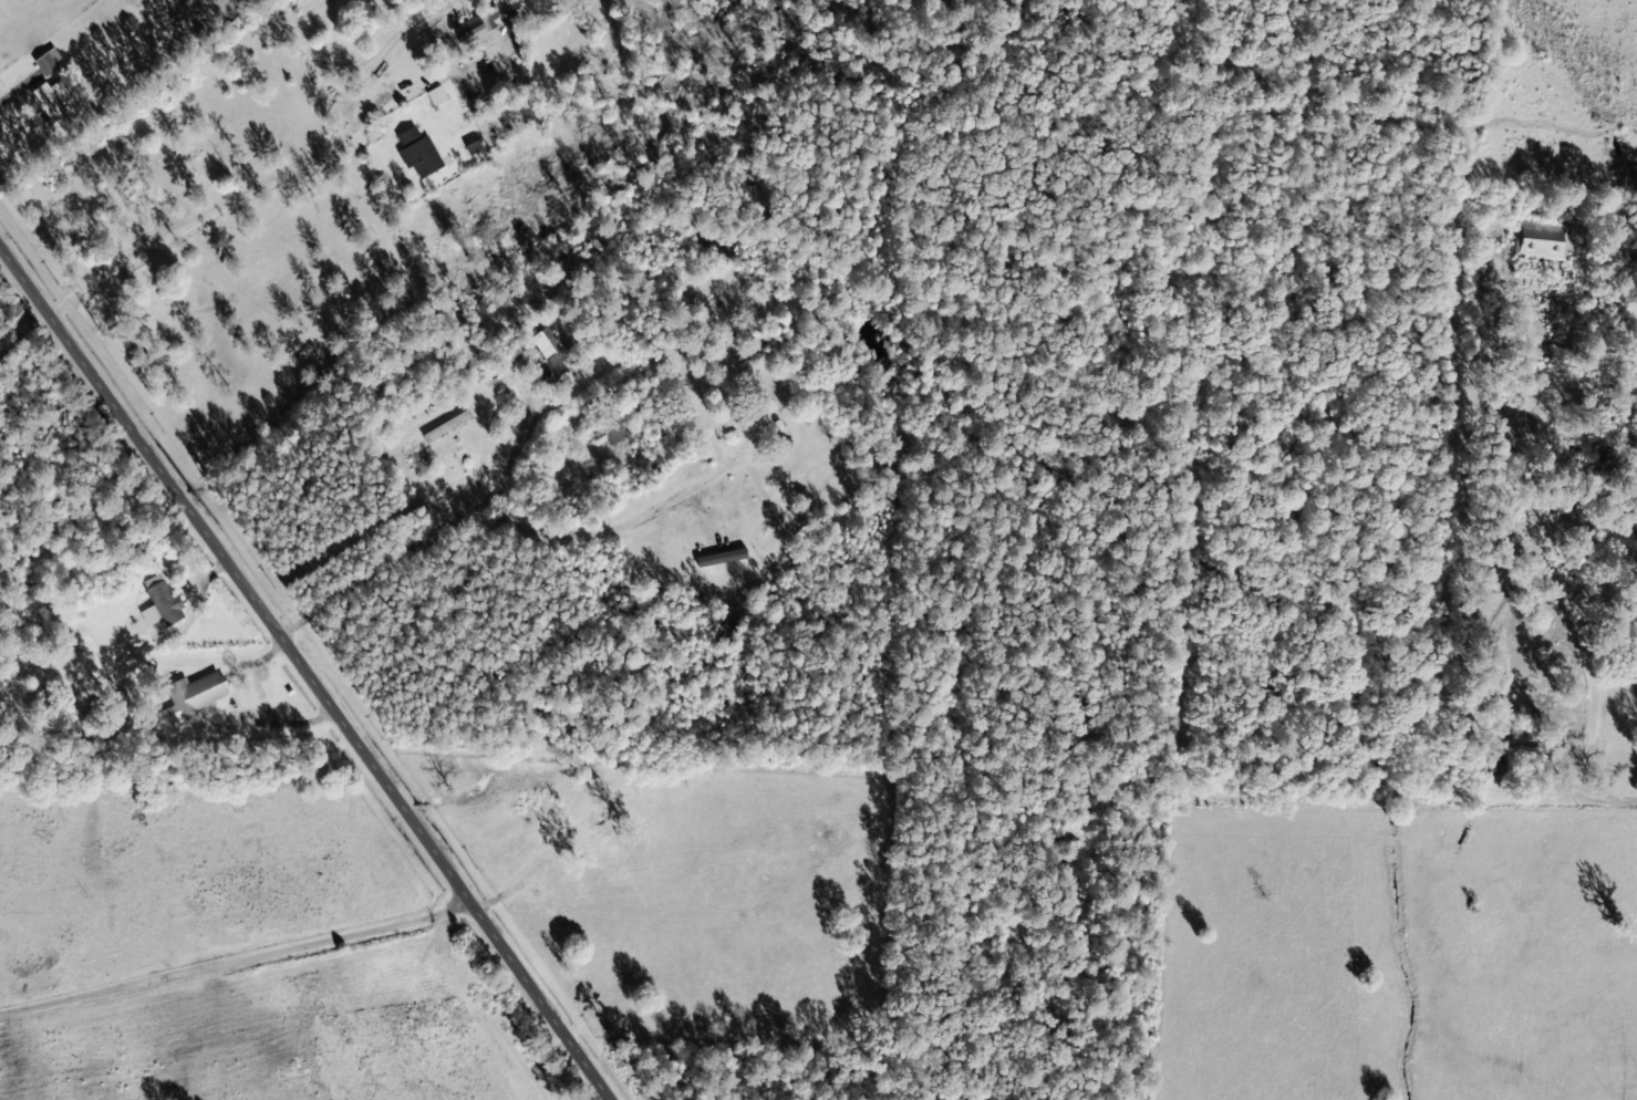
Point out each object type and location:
building: (474, 25)
building: (48, 59)
building: (436, 94)
building: (53, 104)
building: (473, 143)
building: (418, 151)
building: (1542, 238)
building: (551, 349)
building: (614, 429)
building: (160, 601)
road: (1576, 616)
road: (308, 673)
building: (199, 691)
road: (1546, 816)
road: (238, 961)

